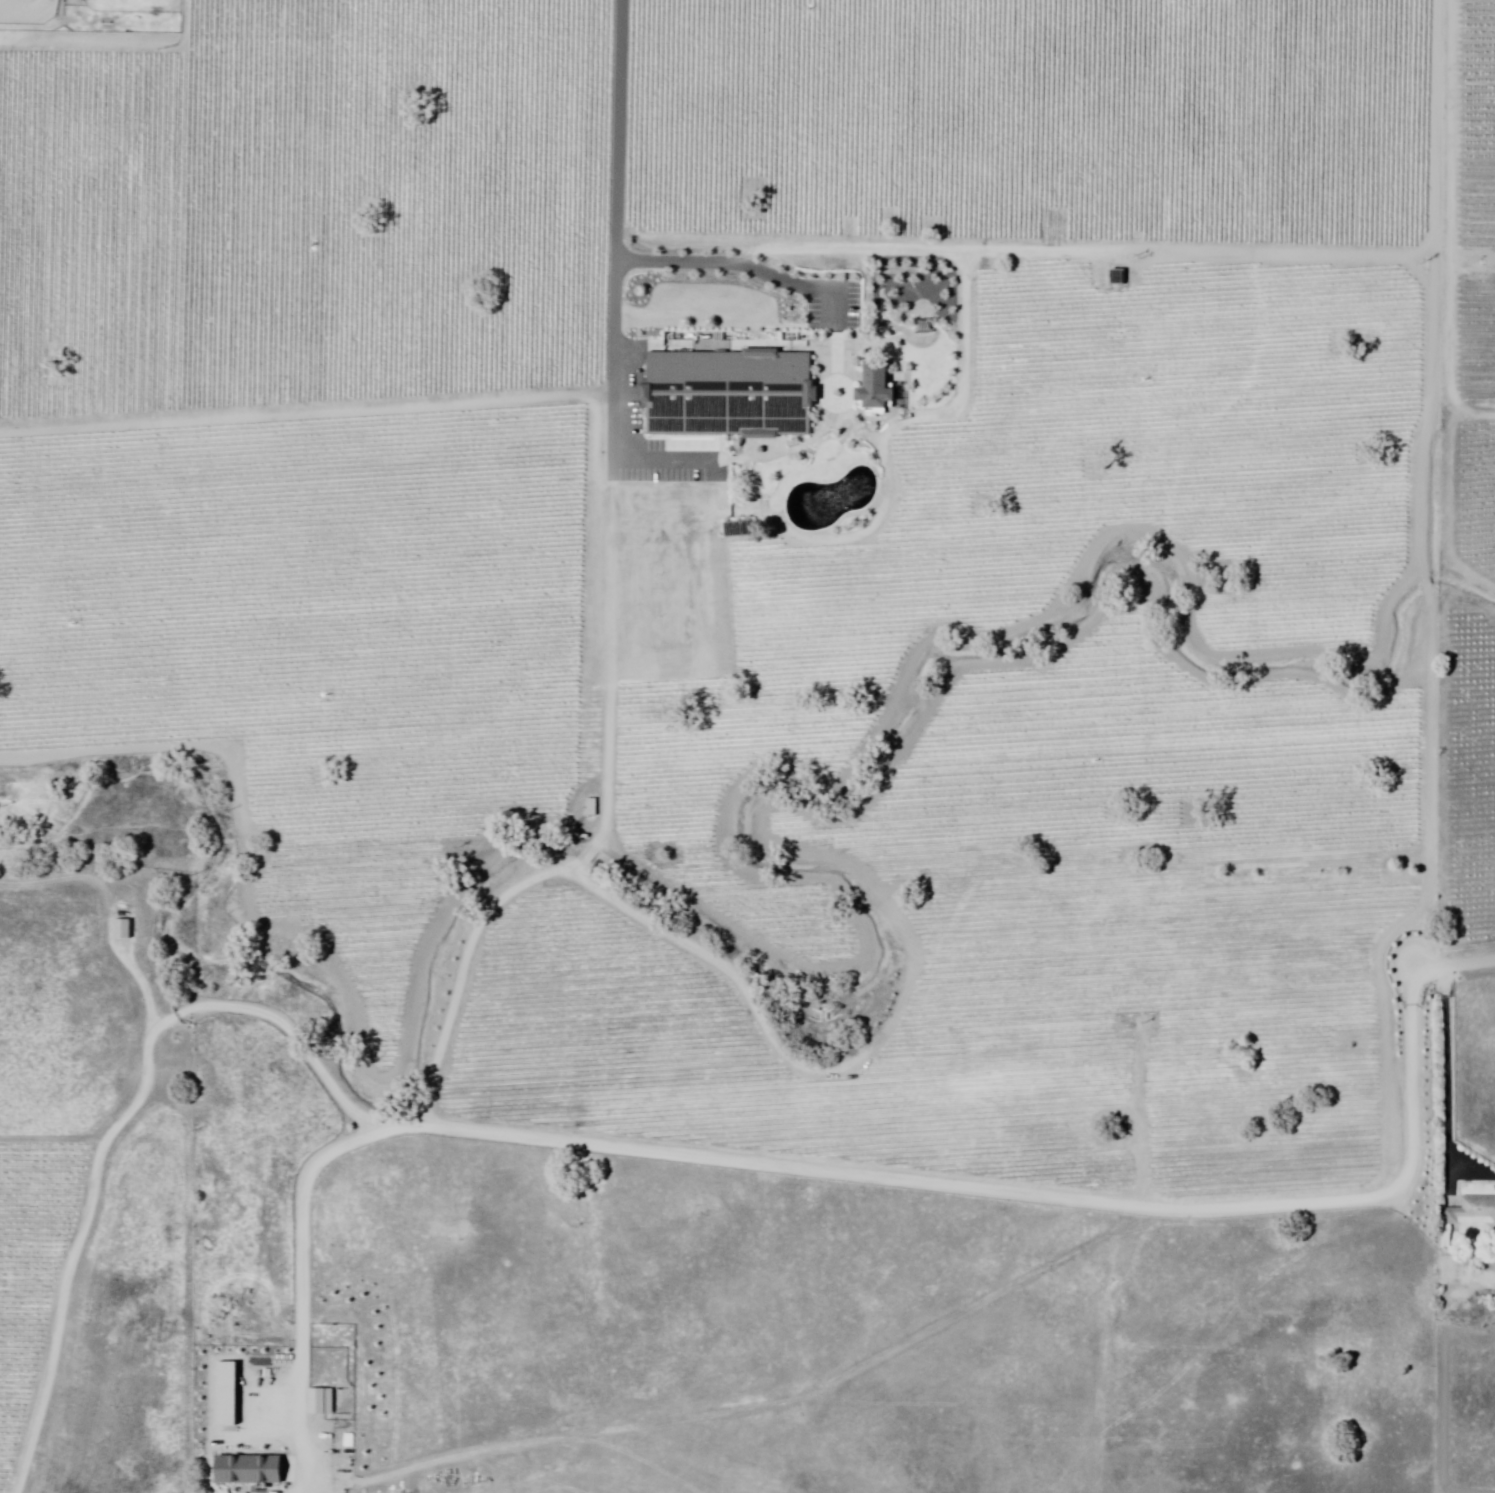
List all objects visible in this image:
building: (17, 0)
building: (938, 211)
building: (1235, 228)
building: (1074, 271)
road: (608, 306)
building: (1006, 331)
building: (878, 387)
building: (729, 394)
road: (1462, 401)
road: (1430, 422)
building: (904, 446)
building: (766, 486)
building: (718, 559)
road: (518, 891)
road: (1417, 941)
road: (1449, 1076)
building: (1318, 1080)
building: (1044, 1084)
building: (1235, 1111)
road: (1203, 1148)
building: (1473, 1212)
road: (937, 1323)
building: (323, 1401)
building: (250, 1472)

